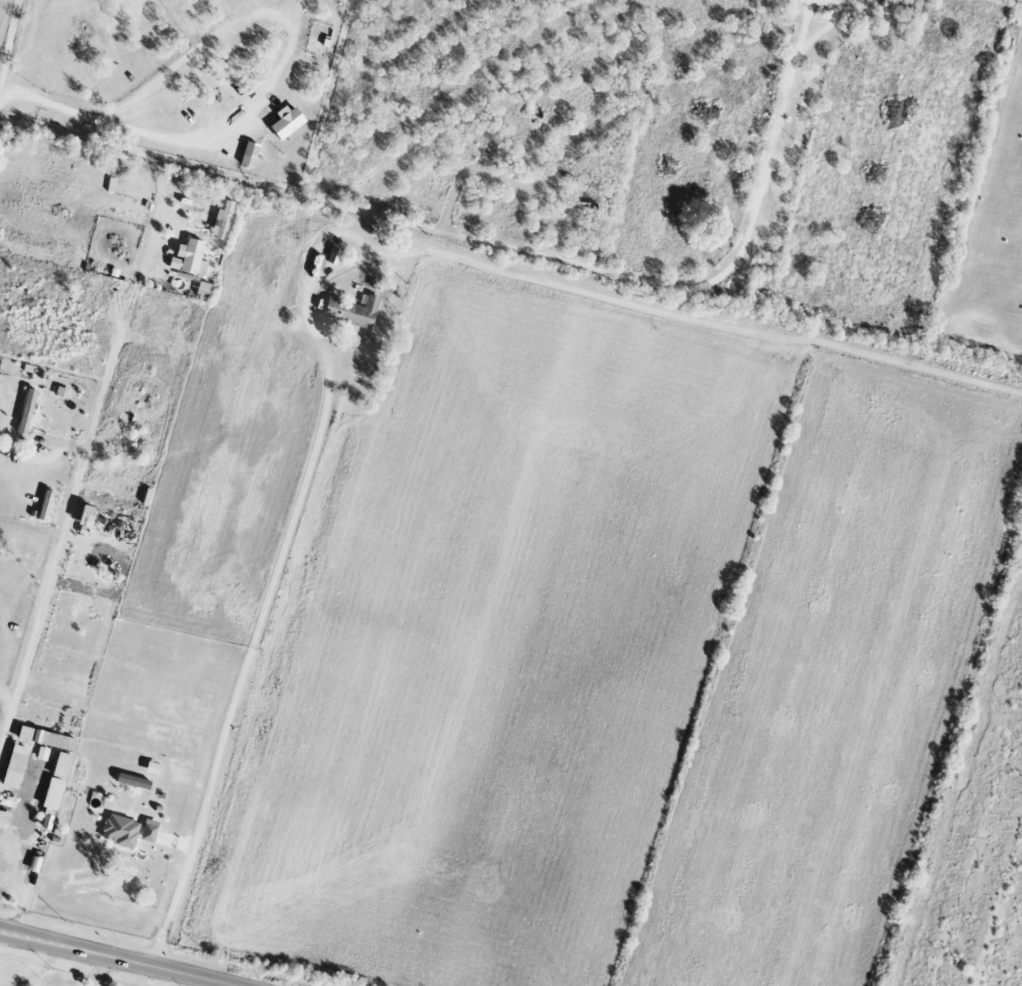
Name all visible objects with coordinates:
road: (809, 21)
road: (831, 27)
road: (295, 41)
road: (10, 43)
road: (50, 107)
building: (286, 122)
building: (249, 155)
road: (477, 169)
road: (158, 220)
building: (221, 222)
road: (481, 242)
building: (188, 259)
building: (202, 290)
building: (351, 312)
building: (25, 412)
road: (46, 599)
road: (249, 652)
building: (45, 739)
building: (13, 771)
building: (130, 781)
building: (54, 789)
building: (119, 831)
building: (148, 831)
road: (114, 958)
road: (102, 971)

